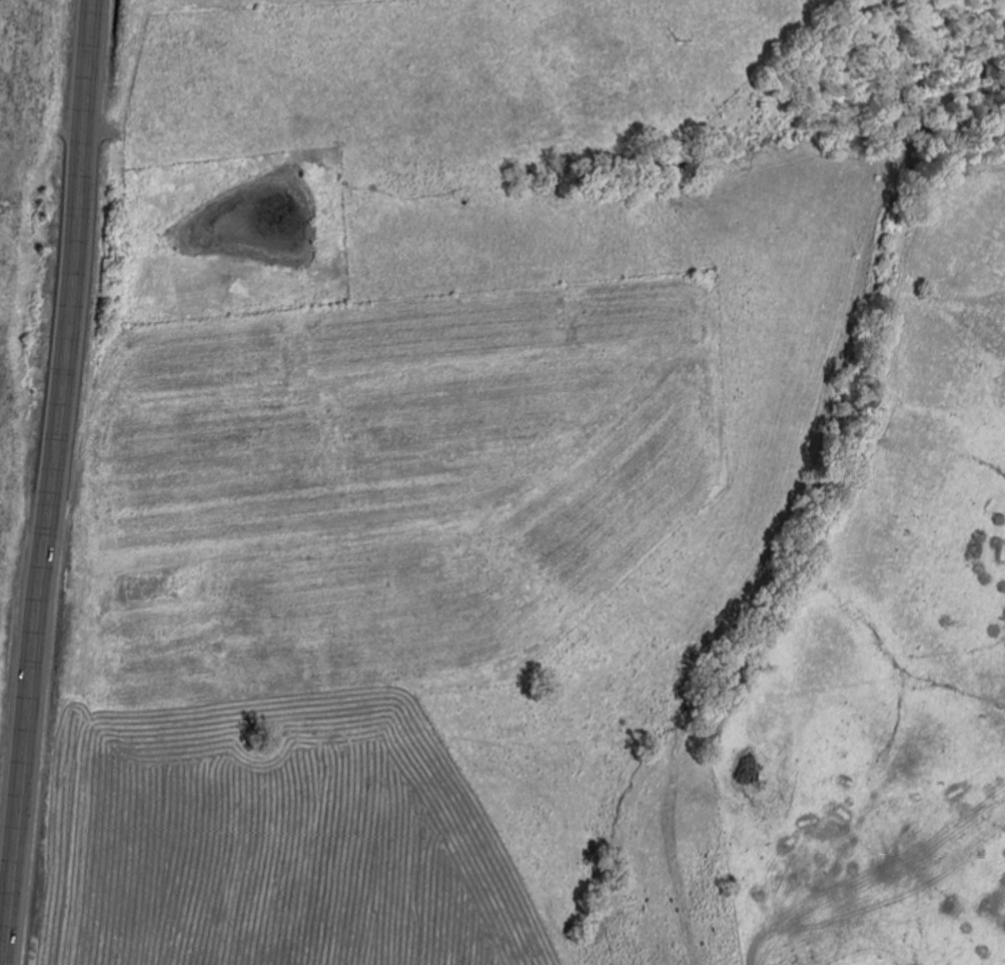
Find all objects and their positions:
power tower: (700, 37)
road: (50, 473)
building: (156, 586)
road: (792, 899)
road: (5, 956)

